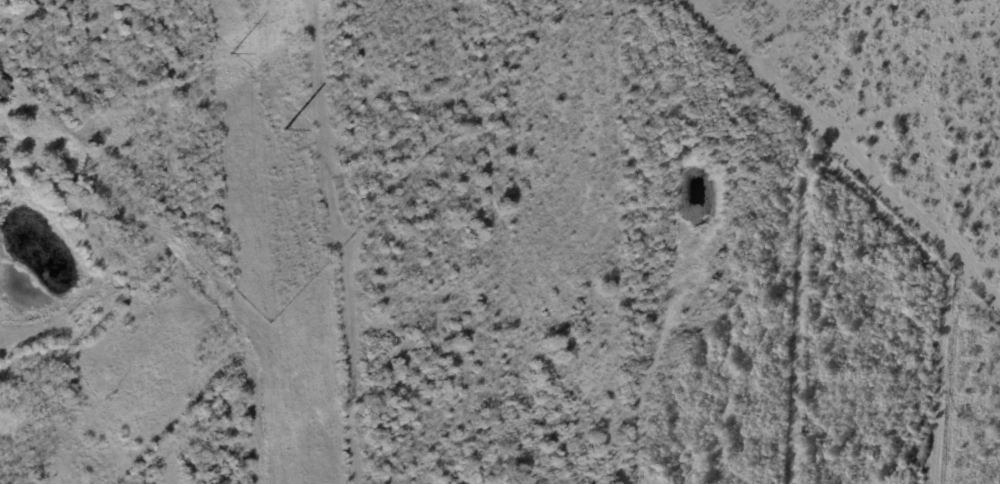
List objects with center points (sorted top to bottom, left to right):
building: (22, 43)
building: (4, 88)
power tower: (282, 113)

